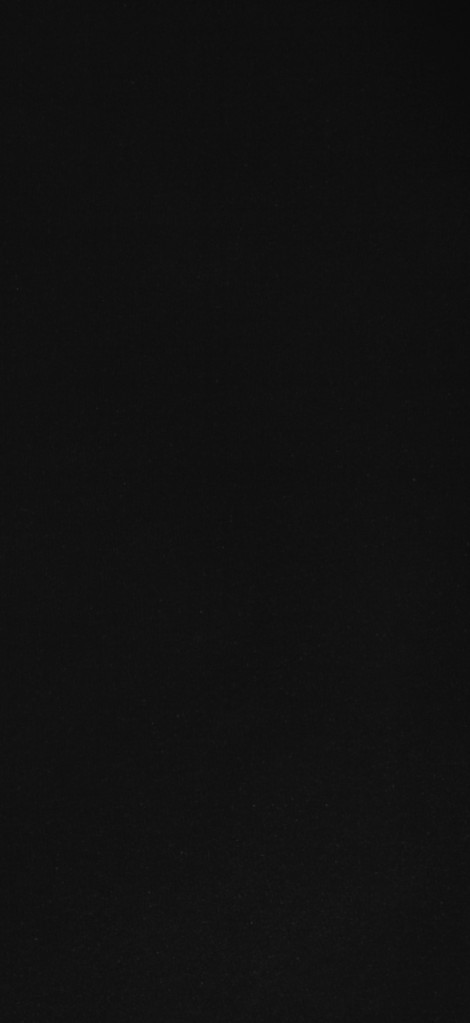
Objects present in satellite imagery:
river: (237, 773)

